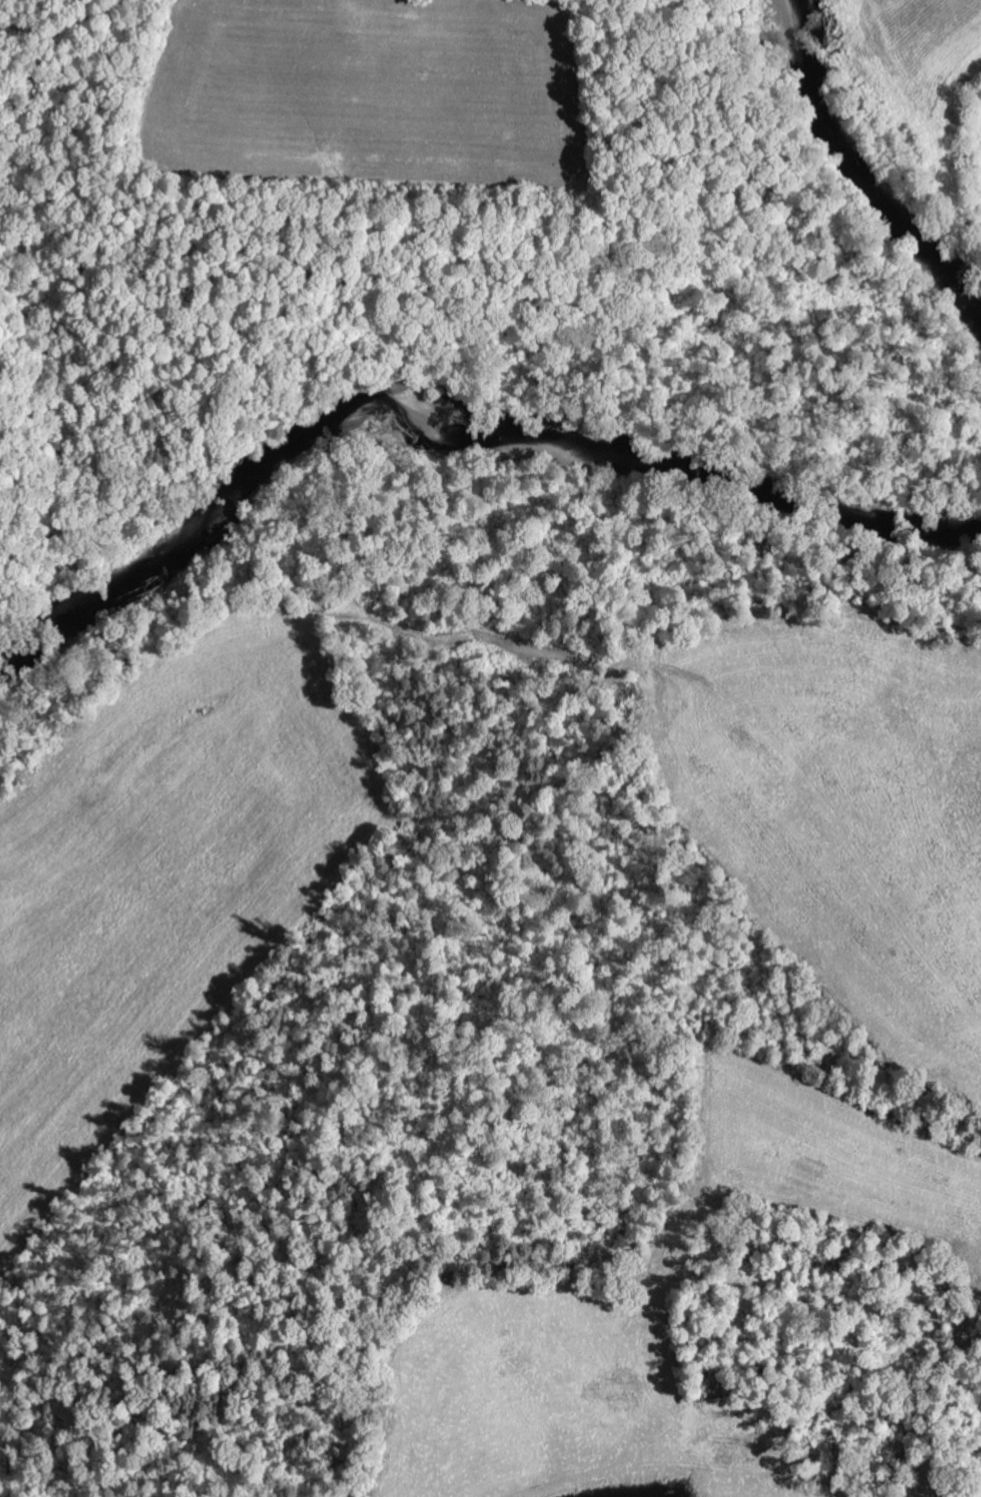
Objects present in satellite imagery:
road: (577, 999)

